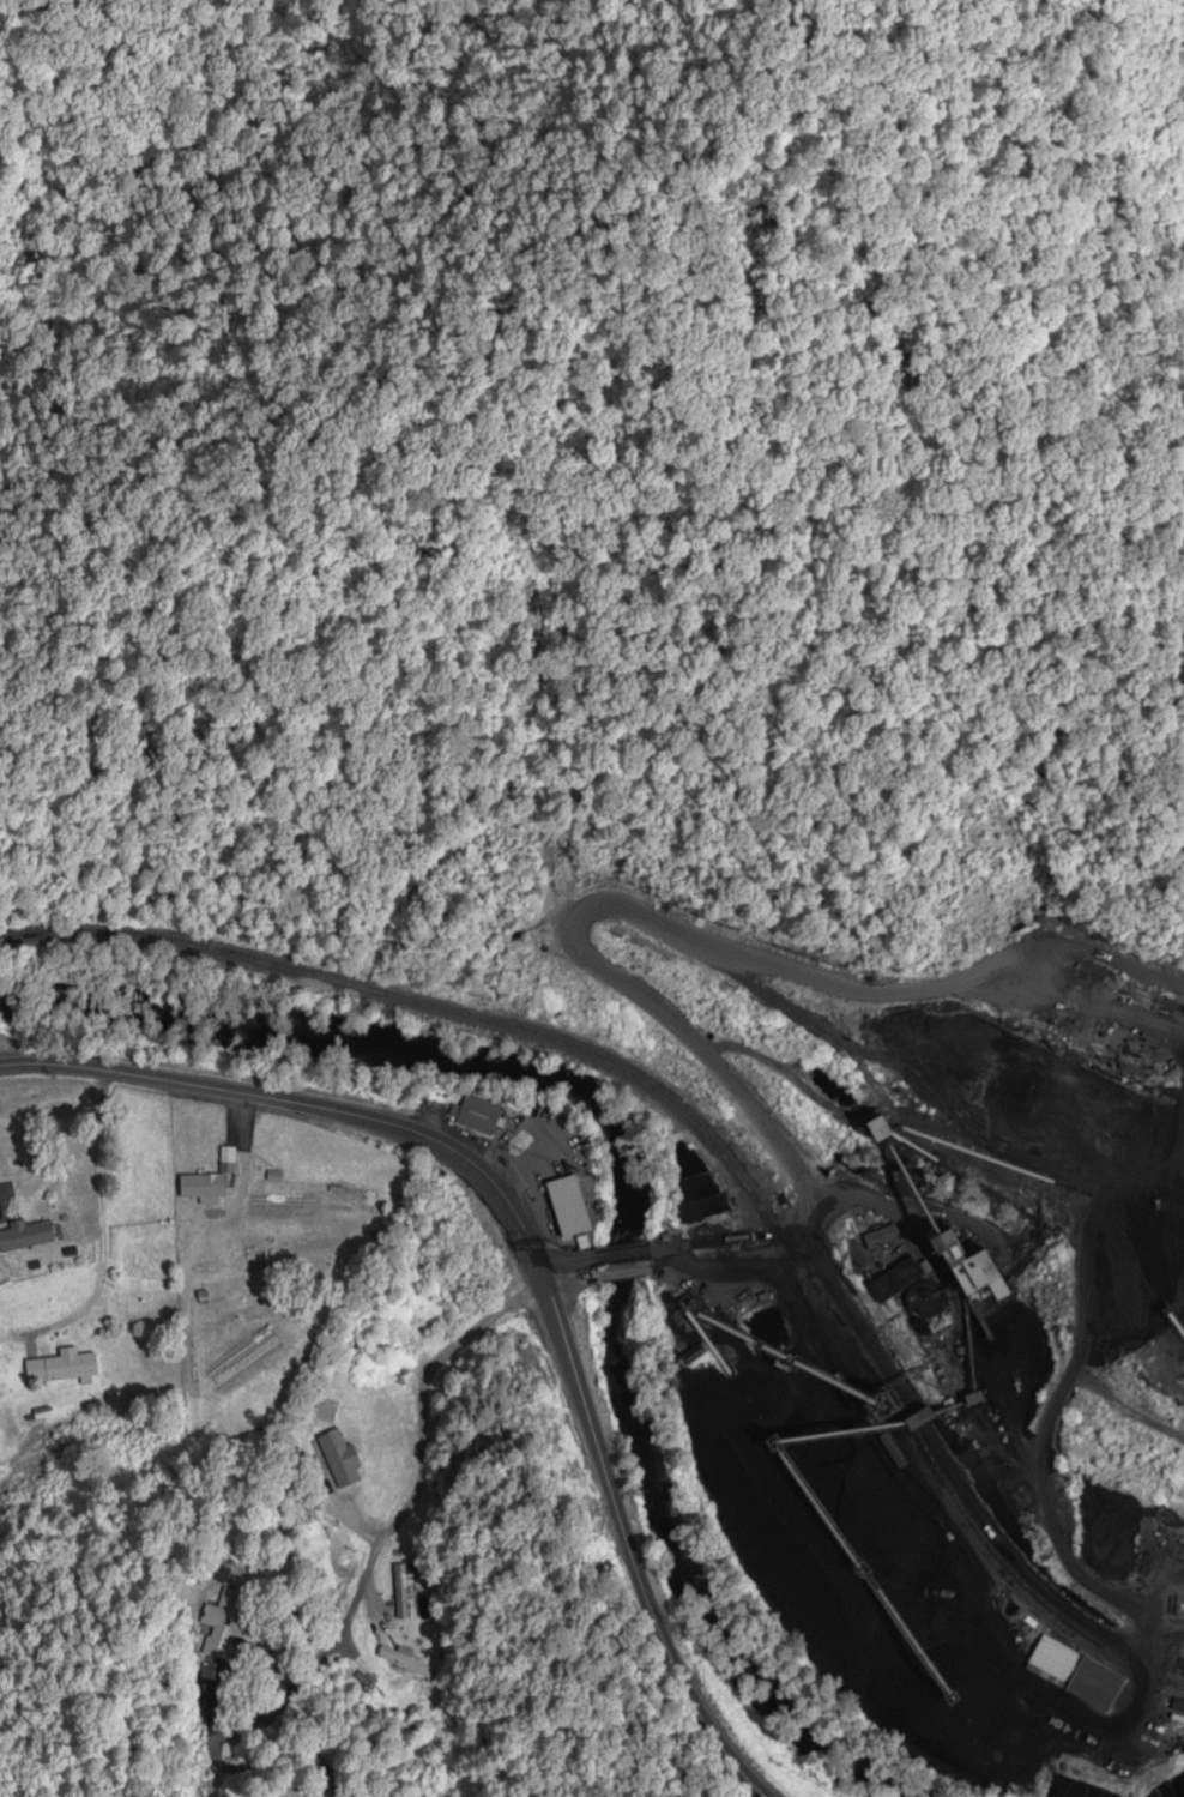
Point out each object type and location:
quarry: (1180, 19)
road: (605, 905)
building: (476, 1116)
building: (880, 1128)
railway: (705, 1136)
river: (626, 1170)
building: (226, 1172)
building: (569, 1206)
building: (695, 1208)
road: (101, 1224)
building: (25, 1237)
building: (880, 1238)
road: (531, 1255)
building: (972, 1268)
road: (623, 1272)
road: (569, 1279)
building: (895, 1280)
quarry: (917, 1291)
building: (62, 1369)
road: (1045, 1454)
building: (339, 1460)
road: (404, 1520)
building: (400, 1593)
building: (225, 1617)
building: (1075, 1675)
road: (244, 1771)

